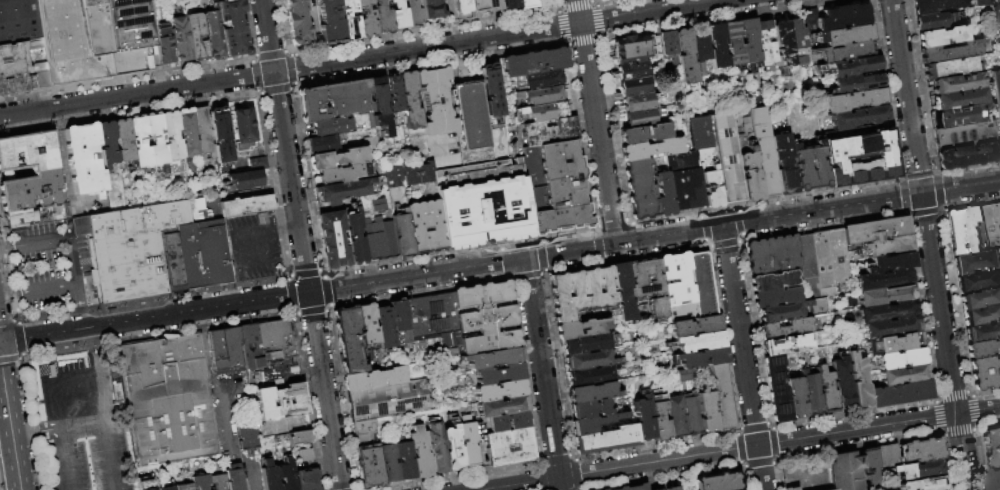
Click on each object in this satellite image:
building: (224, 1)
road: (590, 1)
road: (609, 2)
building: (523, 3)
building: (542, 3)
road: (558, 3)
road: (575, 3)
road: (593, 3)
building: (980, 3)
building: (506, 4)
building: (490, 5)
road: (558, 6)
building: (935, 6)
building: (459, 7)
building: (476, 7)
building: (429, 10)
building: (995, 12)
building: (411, 14)
building: (395, 15)
building: (379, 17)
building: (841, 18)
building: (347, 19)
building: (363, 19)
road: (711, 19)
road: (597, 20)
building: (18, 21)
building: (934, 21)
building: (296, 22)
building: (328, 22)
road: (281, 25)
road: (560, 25)
road: (248, 27)
building: (232, 29)
road: (424, 30)
building: (214, 35)
building: (796, 36)
building: (845, 36)
building: (943, 37)
building: (197, 38)
building: (95, 39)
building: (182, 40)
road: (583, 40)
building: (749, 41)
building: (733, 43)
building: (765, 43)
building: (667, 44)
building: (699, 44)
building: (781, 44)
building: (166, 46)
building: (716, 46)
building: (629, 48)
road: (286, 51)
building: (951, 52)
road: (268, 53)
building: (844, 53)
building: (685, 56)
building: (153, 57)
building: (19, 58)
road: (361, 58)
road: (250, 60)
road: (430, 63)
building: (530, 63)
building: (855, 68)
building: (952, 68)
road: (290, 69)
building: (632, 71)
road: (457, 72)
road: (252, 75)
road: (128, 78)
building: (536, 81)
building: (23, 84)
building: (858, 84)
building: (958, 84)
building: (490, 86)
road: (291, 87)
building: (634, 87)
road: (918, 88)
building: (997, 89)
road: (885, 90)
road: (274, 91)
building: (377, 92)
building: (394, 92)
building: (539, 95)
building: (333, 97)
building: (410, 97)
road: (905, 97)
building: (435, 98)
building: (960, 100)
building: (637, 102)
building: (858, 102)
building: (543, 111)
road: (130, 112)
building: (470, 112)
building: (962, 116)
building: (640, 118)
building: (383, 120)
road: (595, 121)
building: (861, 121)
building: (332, 125)
road: (612, 127)
building: (242, 131)
building: (547, 131)
building: (202, 132)
road: (579, 132)
building: (186, 133)
building: (644, 134)
building: (170, 136)
building: (965, 136)
building: (220, 138)
building: (122, 141)
building: (138, 143)
building: (155, 143)
building: (320, 143)
building: (106, 144)
road: (284, 146)
building: (652, 150)
building: (763, 152)
building: (969, 156)
building: (336, 158)
building: (725, 158)
building: (704, 159)
building: (834, 159)
building: (84, 161)
building: (783, 163)
building: (259, 164)
road: (964, 166)
building: (810, 168)
building: (341, 173)
building: (424, 173)
building: (44, 174)
building: (409, 175)
road: (916, 175)
building: (749, 176)
building: (394, 177)
building: (244, 181)
road: (306, 181)
road: (271, 182)
building: (685, 182)
building: (553, 187)
road: (960, 188)
building: (342, 190)
building: (641, 190)
road: (935, 191)
building: (663, 193)
traffic signals: (921, 194)
road: (901, 196)
road: (763, 200)
road: (967, 204)
building: (375, 206)
road: (734, 206)
building: (245, 207)
building: (197, 210)
road: (922, 211)
building: (483, 212)
road: (701, 212)
building: (33, 217)
building: (362, 217)
building: (363, 222)
road: (737, 224)
building: (992, 224)
road: (611, 225)
road: (722, 226)
road: (822, 226)
building: (424, 227)
building: (965, 229)
road: (286, 230)
road: (704, 230)
building: (400, 235)
building: (353, 238)
road: (537, 238)
building: (332, 239)
building: (387, 240)
road: (33, 243)
road: (723, 243)
road: (596, 244)
building: (377, 246)
building: (367, 247)
building: (852, 247)
road: (457, 248)
building: (132, 250)
building: (766, 254)
road: (540, 255)
building: (202, 256)
road: (241, 257)
building: (801, 258)
road: (70, 260)
building: (887, 261)
building: (975, 261)
building: (171, 263)
parking lot: (48, 266)
road: (544, 271)
road: (303, 273)
road: (7, 274)
road: (540, 274)
road: (415, 275)
road: (286, 276)
road: (525, 276)
road: (511, 278)
building: (880, 278)
building: (769, 280)
building: (977, 280)
building: (700, 284)
road: (46, 286)
building: (647, 286)
building: (676, 287)
road: (324, 289)
road: (417, 291)
road: (9, 292)
building: (581, 292)
building: (622, 293)
road: (288, 294)
building: (883, 294)
building: (771, 296)
building: (978, 297)
road: (151, 300)
road: (938, 303)
road: (76, 305)
road: (327, 305)
road: (919, 305)
road: (210, 309)
road: (324, 309)
building: (885, 310)
building: (777, 311)
road: (310, 312)
road: (292, 314)
road: (955, 314)
building: (979, 314)
building: (483, 317)
building: (424, 319)
road: (15, 320)
building: (448, 320)
road: (6, 322)
building: (364, 324)
building: (397, 324)
road: (102, 326)
building: (381, 326)
building: (695, 326)
building: (780, 326)
building: (888, 326)
road: (86, 328)
building: (582, 329)
building: (981, 331)
road: (752, 332)
road: (154, 333)
road: (40, 335)
building: (346, 338)
road: (19, 339)
building: (275, 340)
road: (721, 340)
building: (700, 342)
building: (890, 342)
building: (783, 343)
building: (585, 345)
building: (250, 347)
building: (981, 347)
road: (205, 351)
building: (225, 351)
building: (898, 357)
building: (490, 358)
road: (743, 358)
road: (8, 359)
building: (701, 359)
building: (589, 360)
road: (556, 365)
building: (983, 371)
building: (497, 374)
road: (541, 374)
building: (900, 374)
building: (591, 376)
road: (286, 377)
building: (373, 378)
building: (854, 380)
building: (838, 381)
building: (774, 387)
building: (822, 387)
building: (497, 390)
road: (324, 391)
road: (966, 391)
building: (591, 392)
building: (896, 392)
building: (807, 393)
road: (951, 394)
road: (971, 394)
building: (792, 396)
building: (723, 397)
building: (166, 399)
building: (387, 400)
building: (280, 402)
road: (307, 403)
building: (500, 406)
building: (590, 409)
road: (972, 409)
road: (978, 410)
road: (854, 411)
building: (706, 412)
road: (936, 415)
building: (691, 416)
building: (675, 417)
road: (223, 418)
building: (642, 420)
building: (658, 421)
road: (31, 422)
building: (81, 422)
building: (507, 422)
building: (596, 423)
road: (769, 424)
road: (988, 424)
road: (752, 426)
road: (975, 427)
road: (9, 428)
building: (363, 428)
road: (957, 432)
road: (939, 433)
building: (246, 436)
building: (299, 438)
building: (607, 440)
road: (773, 442)
building: (468, 443)
building: (507, 446)
building: (452, 447)
building: (991, 447)
building: (435, 448)
road: (737, 448)
road: (842, 449)
building: (923, 451)
road: (962, 451)
road: (718, 452)
building: (420, 453)
road: (568, 455)
building: (888, 456)
building: (306, 457)
road: (554, 458)
road: (574, 458)
road: (776, 458)
road: (978, 459)
road: (247, 460)
building: (405, 461)
road: (946, 461)
road: (537, 462)
road: (772, 462)
building: (388, 463)
road: (757, 464)
building: (368, 466)
building: (871, 469)
building: (919, 470)
building: (843, 471)
road: (574, 473)
parking lot: (806, 473)
road: (790, 474)
building: (269, 475)
building: (286, 475)
road: (741, 475)
road: (460, 477)
road: (663, 477)
building: (993, 478)
road: (537, 479)
building: (233, 480)
building: (306, 480)
building: (716, 482)
building: (199, 483)
building: (217, 483)
building: (926, 484)
building: (146, 486)
building: (673, 486)
building: (182, 487)
building: (634, 487)
building: (658, 487)
road: (576, 488)
building: (789, 488)
building: (166, 489)
building: (603, 489)
building: (654, 489)

